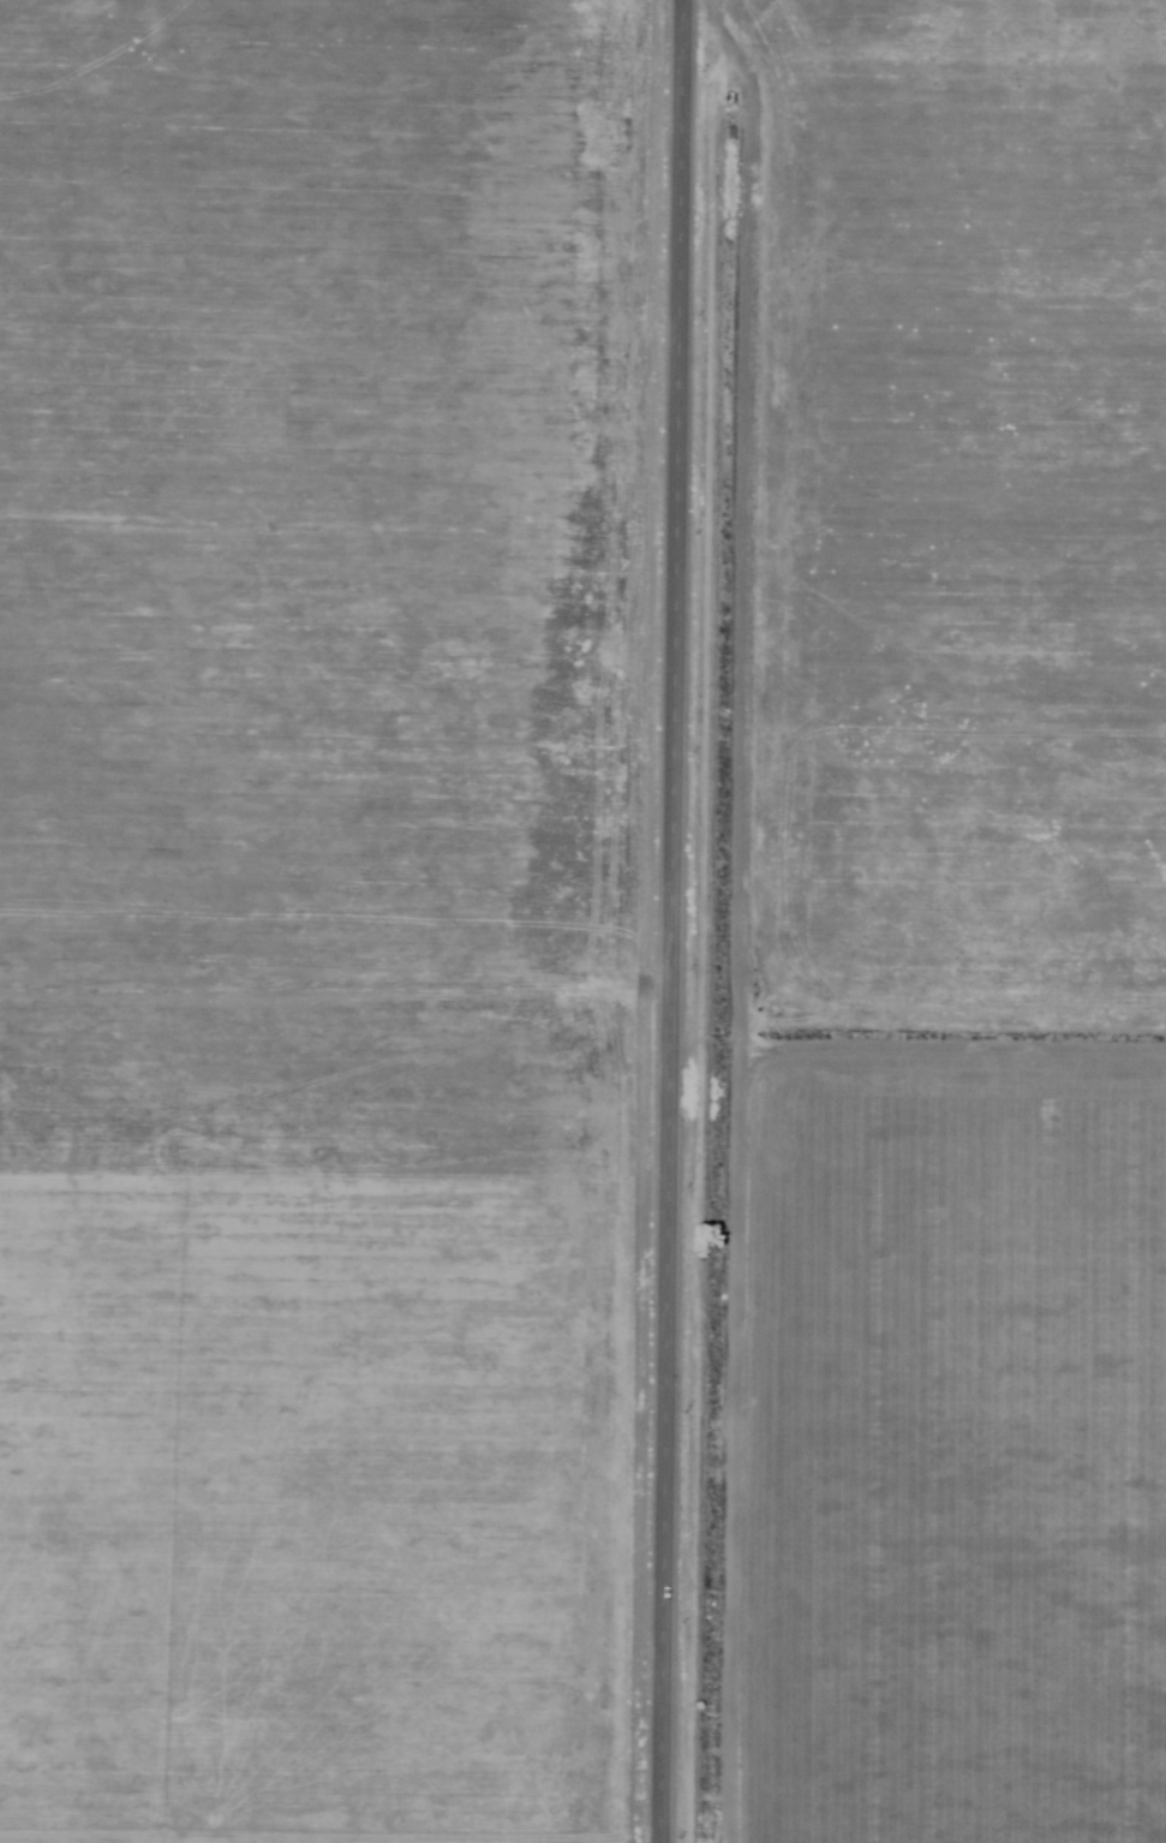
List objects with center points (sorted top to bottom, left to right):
road: (675, 921)

